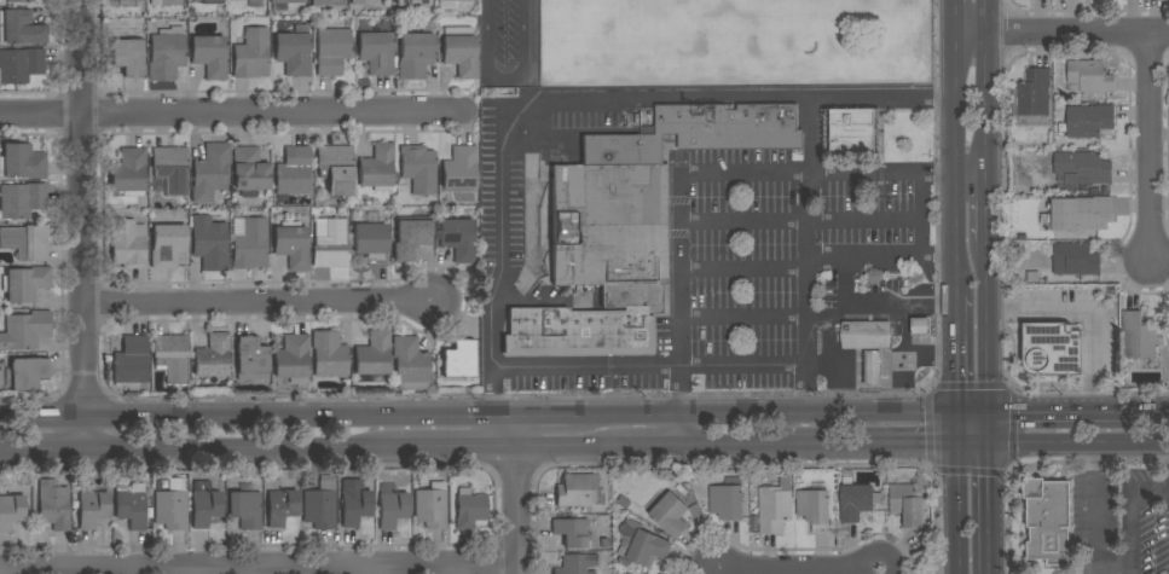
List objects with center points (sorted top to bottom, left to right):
building: (17, 0)
building: (108, 0)
building: (170, 1)
building: (212, 1)
building: (284, 2)
building: (326, 2)
building: (363, 2)
building: (411, 2)
road: (955, 13)
building: (19, 28)
road: (1061, 29)
building: (293, 51)
building: (331, 51)
building: (459, 51)
building: (376, 53)
building: (250, 54)
building: (127, 56)
building: (166, 56)
building: (209, 56)
building: (413, 56)
building: (21, 64)
building: (1089, 76)
road: (502, 79)
road: (985, 88)
building: (1034, 93)
road: (237, 115)
road: (521, 120)
building: (1088, 120)
building: (852, 132)
building: (698, 133)
road: (1151, 146)
road: (808, 156)
building: (22, 162)
road: (955, 162)
building: (170, 168)
building: (377, 168)
building: (459, 168)
building: (1082, 168)
building: (336, 169)
building: (418, 169)
building: (210, 172)
building: (249, 172)
building: (294, 172)
building: (129, 173)
road: (742, 174)
road: (896, 175)
building: (1095, 190)
building: (21, 199)
road: (984, 209)
building: (1084, 213)
road: (743, 221)
road: (886, 221)
road: (82, 224)
building: (609, 225)
building: (410, 238)
building: (457, 239)
building: (27, 242)
building: (209, 243)
building: (371, 243)
building: (128, 244)
building: (250, 244)
building: (167, 245)
building: (331, 245)
building: (291, 247)
road: (938, 254)
road: (881, 255)
building: (1075, 259)
road: (743, 269)
road: (681, 271)
building: (1032, 277)
building: (25, 284)
building: (632, 295)
road: (262, 302)
road: (873, 306)
road: (1084, 314)
road: (743, 315)
road: (828, 318)
building: (920, 326)
gas station: (878, 329)
building: (25, 330)
building: (580, 331)
building: (864, 336)
building: (1138, 337)
road: (984, 342)
building: (1052, 349)
road: (954, 352)
road: (927, 353)
building: (328, 354)
building: (372, 354)
building: (172, 356)
building: (213, 356)
building: (291, 358)
road: (901, 358)
building: (251, 359)
building: (458, 359)
building: (131, 363)
building: (410, 363)
road: (834, 364)
road: (822, 366)
road: (794, 367)
building: (873, 369)
building: (24, 373)
road: (809, 389)
road: (492, 390)
traffic signals: (954, 408)
road: (968, 408)
traffic signals: (984, 408)
road: (1065, 408)
road: (1158, 410)
road: (760, 412)
road: (542, 413)
road: (257, 414)
road: (682, 429)
road: (517, 431)
traffic signals: (954, 441)
road: (884, 442)
traffic signals: (985, 442)
road: (1077, 442)
road: (731, 445)
road: (653, 446)
road: (44, 447)
road: (239, 447)
road: (455, 447)
road: (571, 447)
road: (1094, 460)
road: (1150, 489)
building: (577, 491)
road: (954, 491)
building: (727, 500)
building: (354, 503)
building: (855, 503)
building: (204, 504)
building: (907, 504)
building: (53, 505)
building: (131, 505)
building: (392, 505)
building: (172, 506)
building: (280, 506)
building: (320, 506)
building: (430, 506)
building: (775, 506)
building: (814, 506)
road: (986, 508)
building: (92, 509)
building: (245, 509)
building: (469, 509)
building: (11, 511)
road: (517, 511)
building: (670, 515)
building: (1047, 521)
parking lot: (1122, 521)
road: (1095, 527)
building: (574, 532)
road: (1132, 532)
building: (641, 545)
building: (575, 564)
road: (259, 569)
road: (799, 570)
road: (716, 573)

